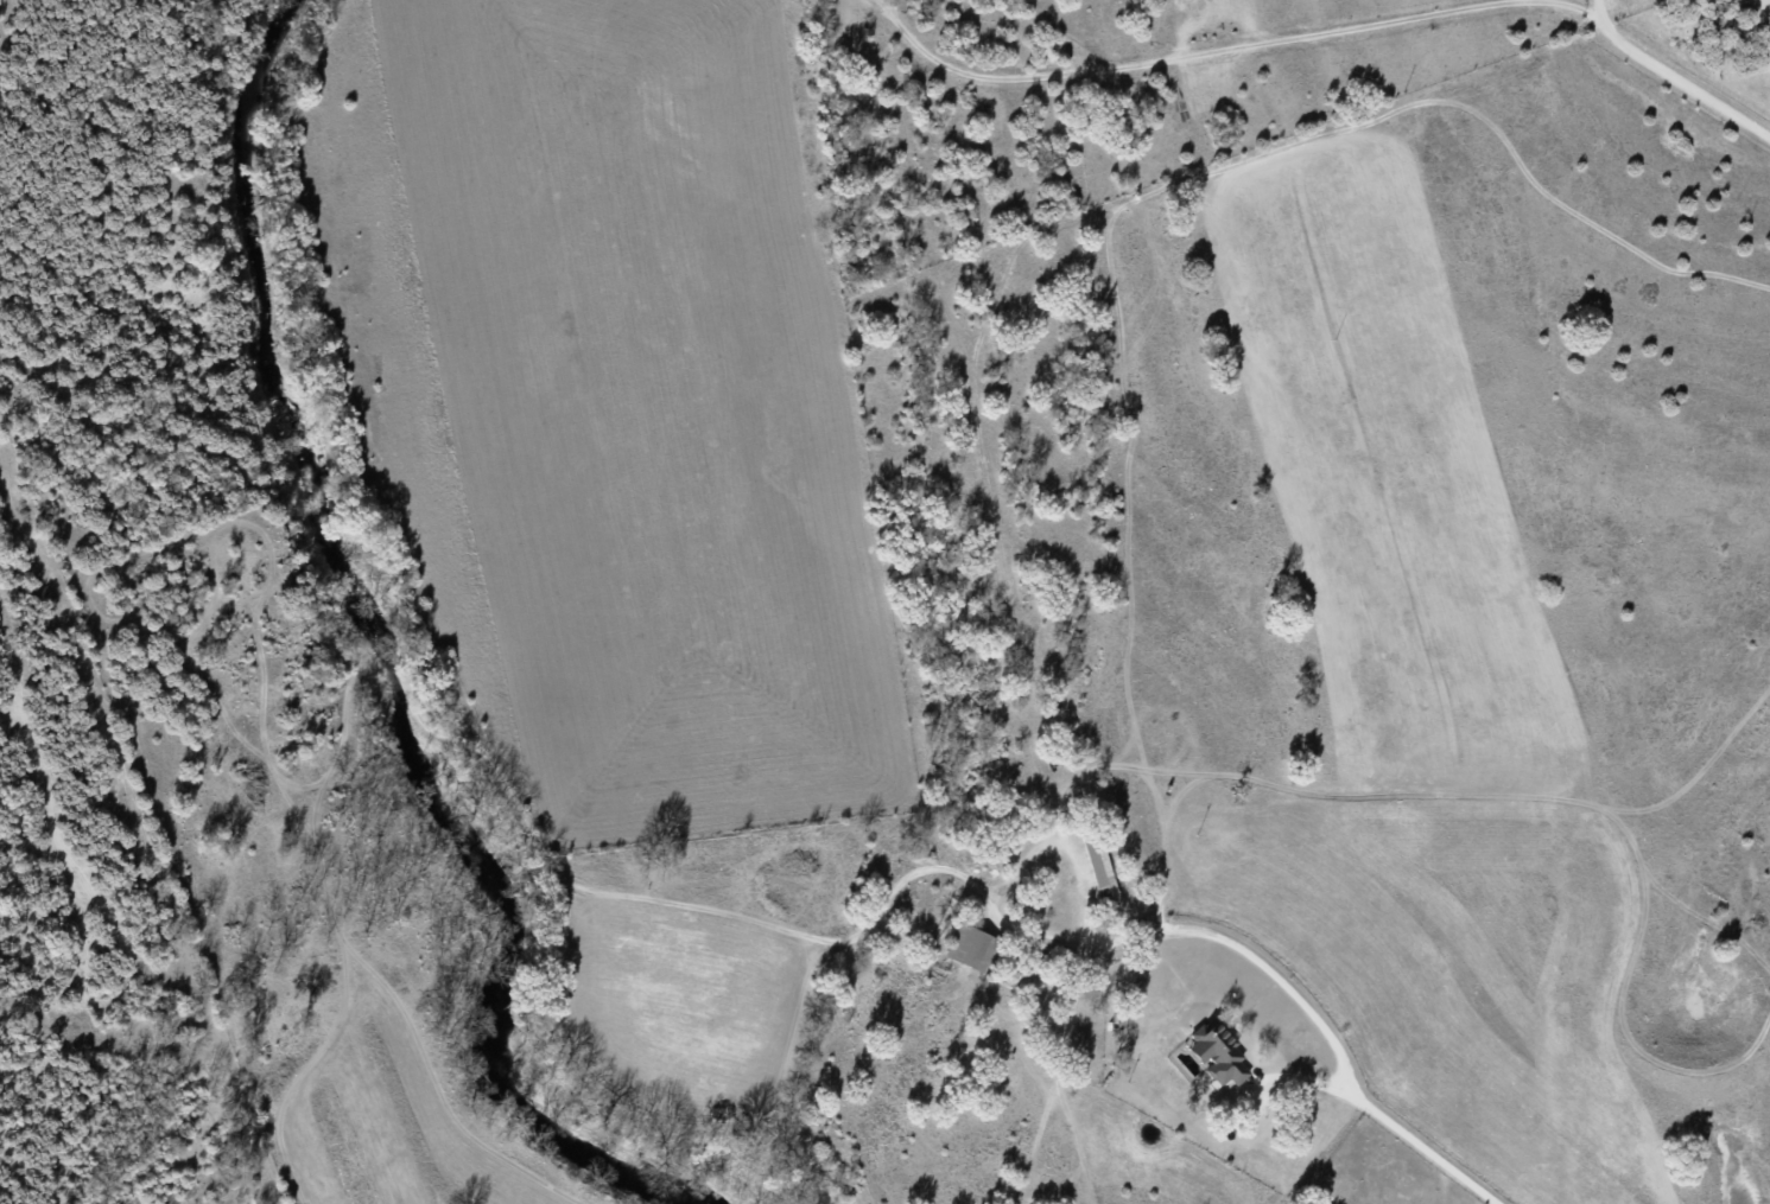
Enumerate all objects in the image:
road: (1604, 9)
road: (1326, 38)
building: (1099, 869)
building: (970, 947)
road: (1292, 990)
building: (1220, 1053)

